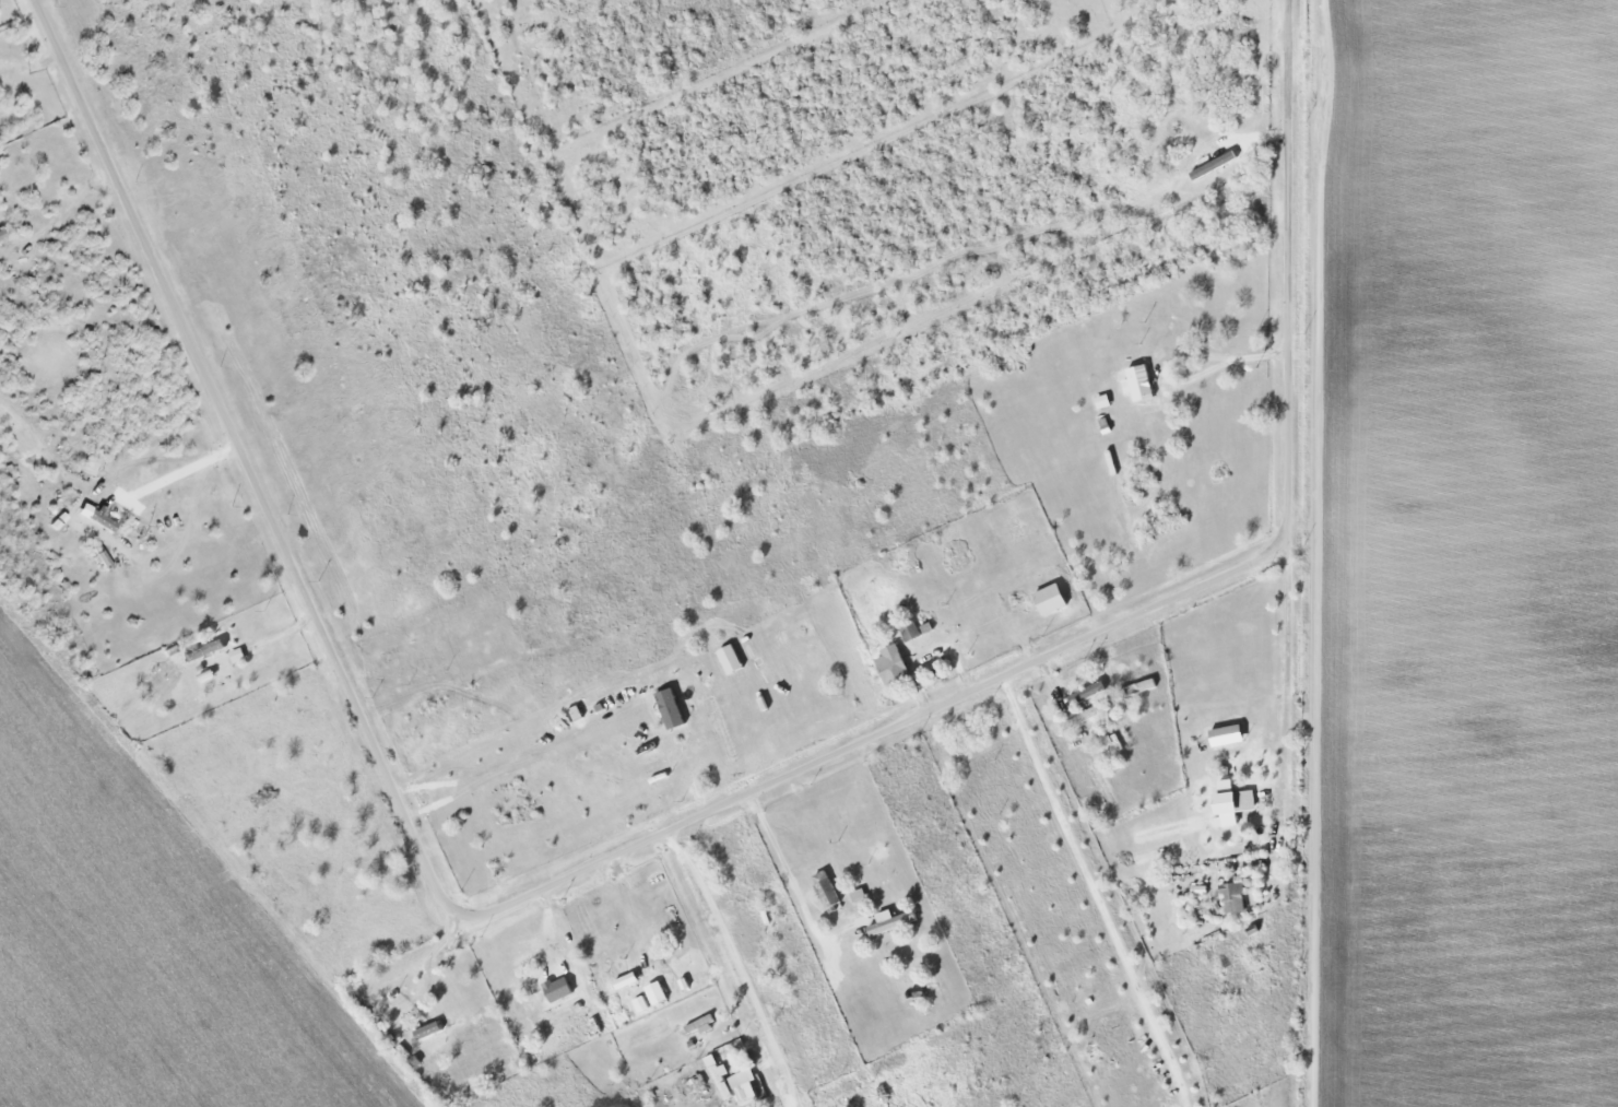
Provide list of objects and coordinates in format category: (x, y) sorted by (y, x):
building: (2, 235)
road: (1287, 268)
building: (1142, 382)
road: (243, 459)
building: (911, 632)
building: (210, 651)
road: (1285, 662)
building: (895, 667)
building: (1141, 687)
building: (1085, 715)
road: (874, 733)
building: (1228, 735)
building: (1237, 799)
building: (828, 892)
building: (1236, 897)
road: (732, 966)
building: (559, 988)
building: (433, 1031)
building: (722, 1082)
building: (885, 1097)

